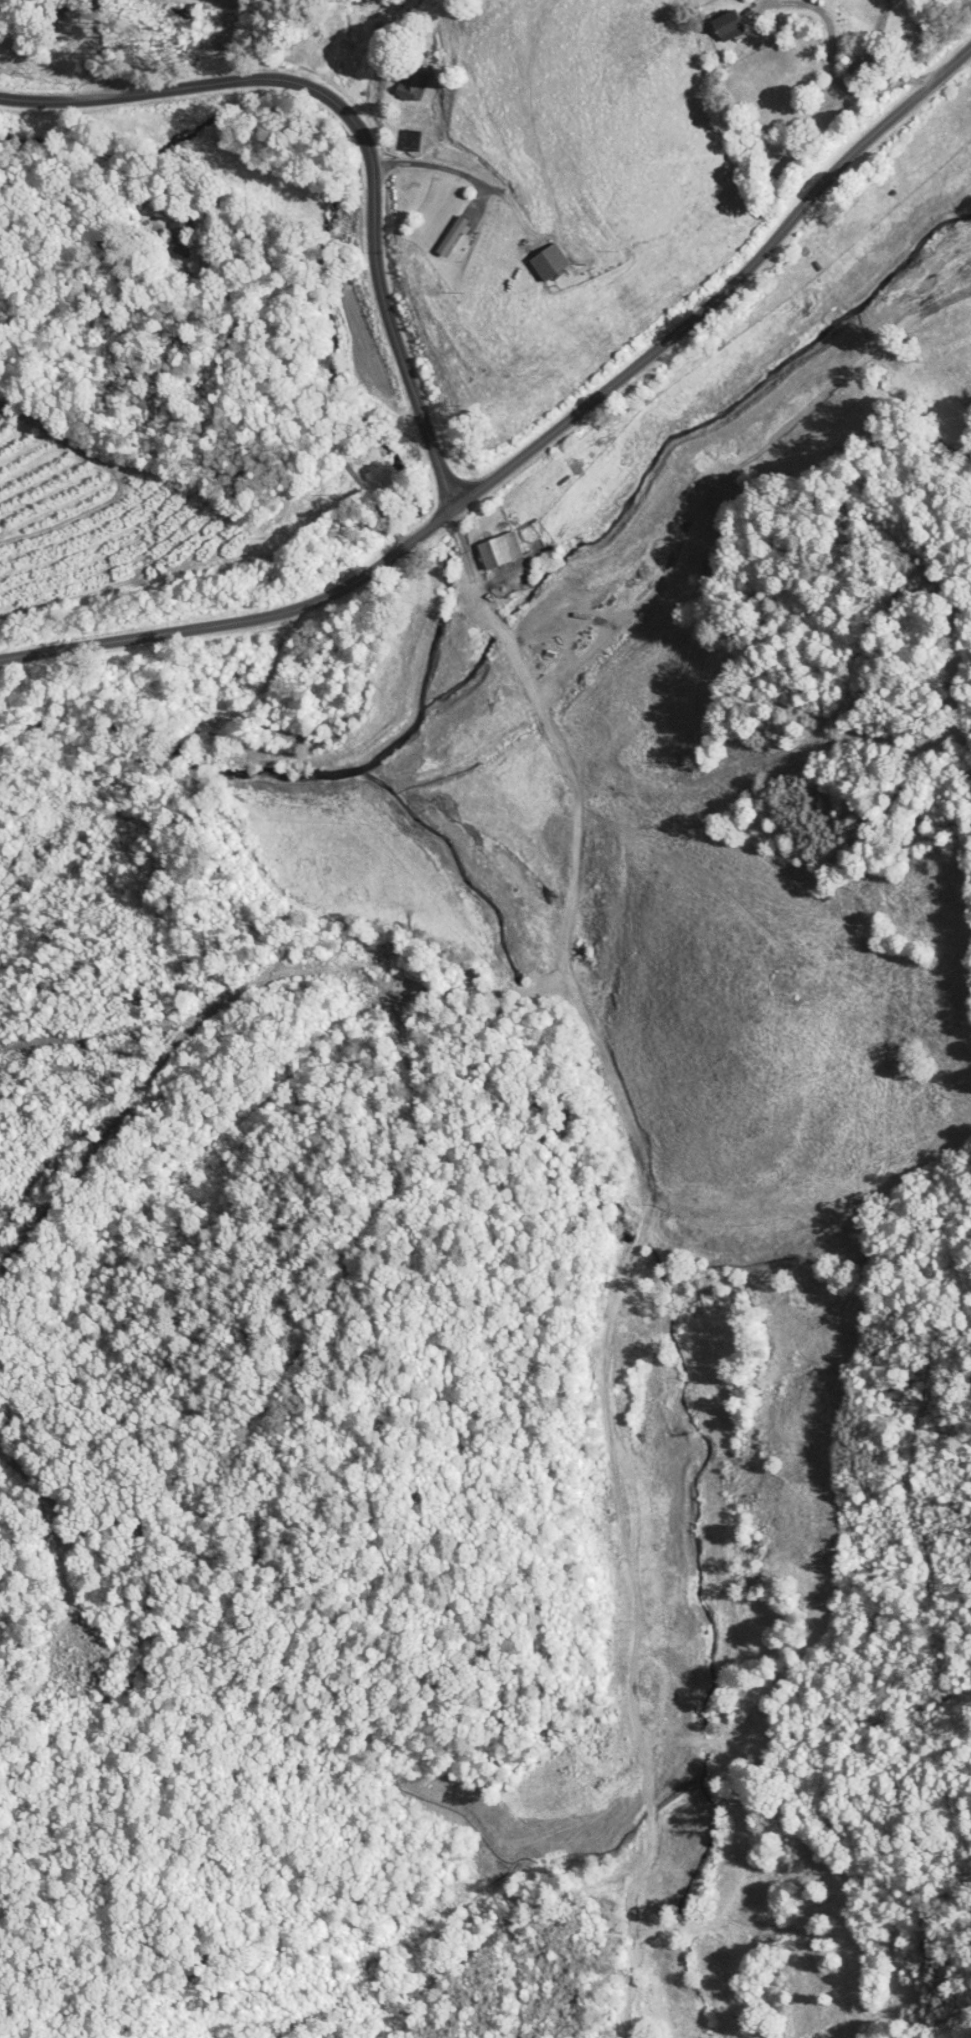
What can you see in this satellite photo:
building: (723, 25)
road: (101, 49)
building: (408, 82)
road: (844, 84)
road: (363, 136)
road: (428, 165)
building: (142, 207)
building: (448, 235)
building: (176, 239)
building: (546, 261)
road: (303, 424)
river: (672, 437)
road: (534, 447)
building: (497, 549)
road: (468, 562)
road: (502, 633)
river: (400, 757)
river: (181, 761)
road: (567, 923)
road: (642, 1221)
road: (618, 1300)

